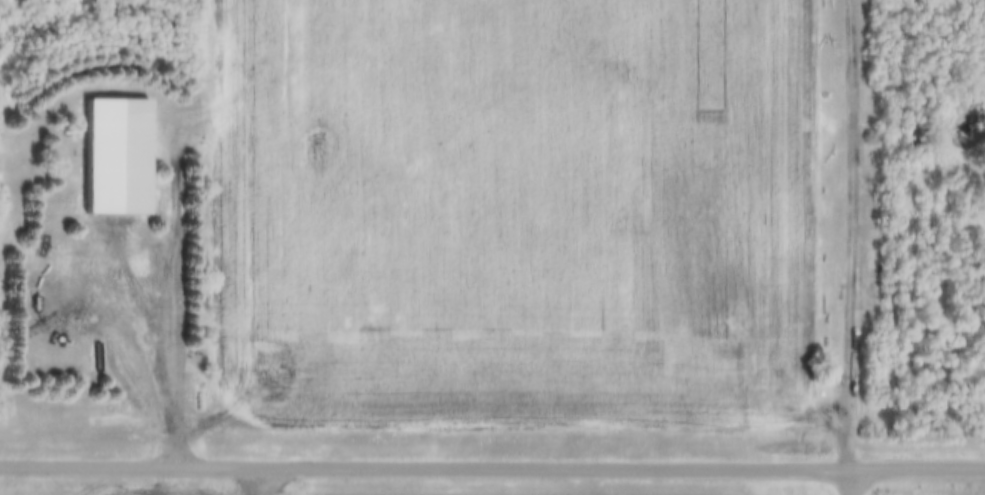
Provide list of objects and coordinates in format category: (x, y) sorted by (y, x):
road: (852, 233)
road: (185, 286)
road: (423, 465)
road: (916, 467)
road: (847, 481)

